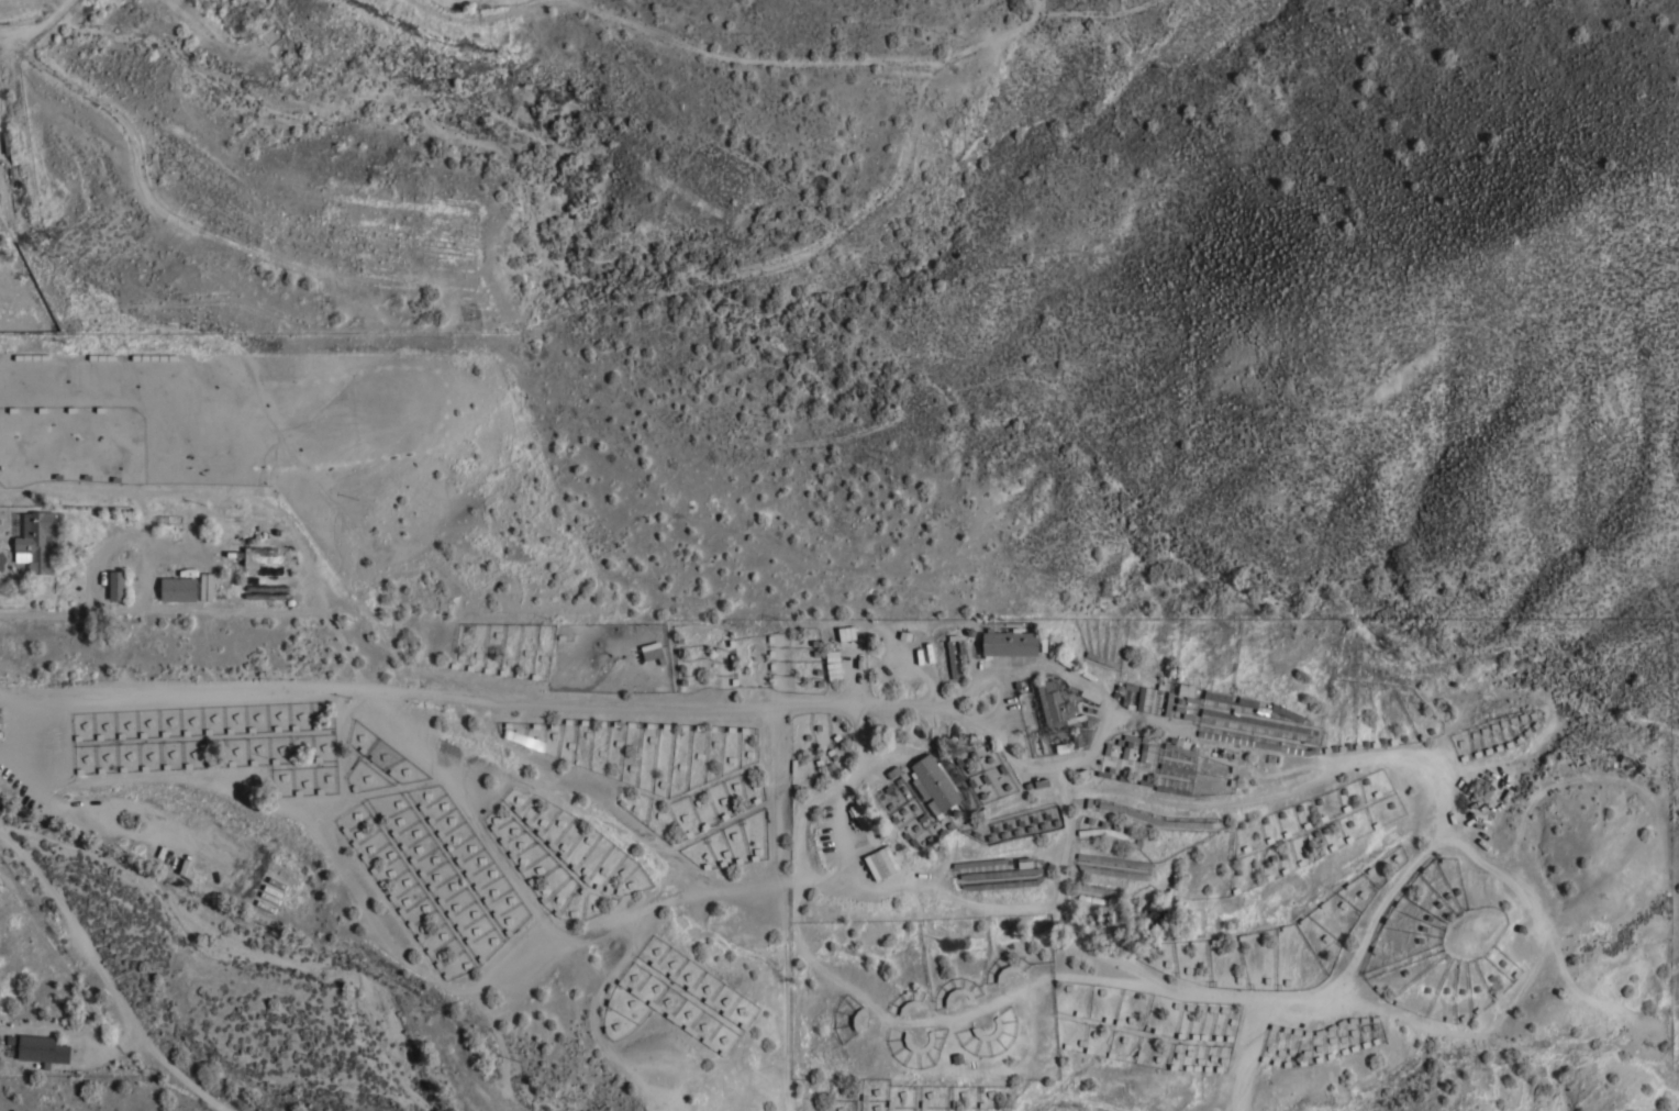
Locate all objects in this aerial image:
building: (36, 545)
building: (234, 569)
building: (116, 586)
building: (177, 590)
road: (67, 613)
building: (846, 634)
building: (1008, 643)
building: (653, 653)
building: (952, 666)
building: (1187, 693)
building: (1057, 704)
building: (1253, 704)
building: (1257, 723)
building: (1259, 744)
building: (1069, 745)
building: (1127, 745)
building: (1179, 746)
building: (1177, 769)
building: (934, 782)
building: (1172, 790)
building: (859, 816)
building: (1144, 816)
building: (1105, 834)
building: (1113, 860)
building: (880, 864)
building: (979, 864)
building: (1111, 873)
building: (1001, 874)
building: (1000, 886)
building: (1096, 890)
road: (108, 982)
building: (947, 999)
building: (972, 1029)
building: (930, 1041)
building: (42, 1051)

